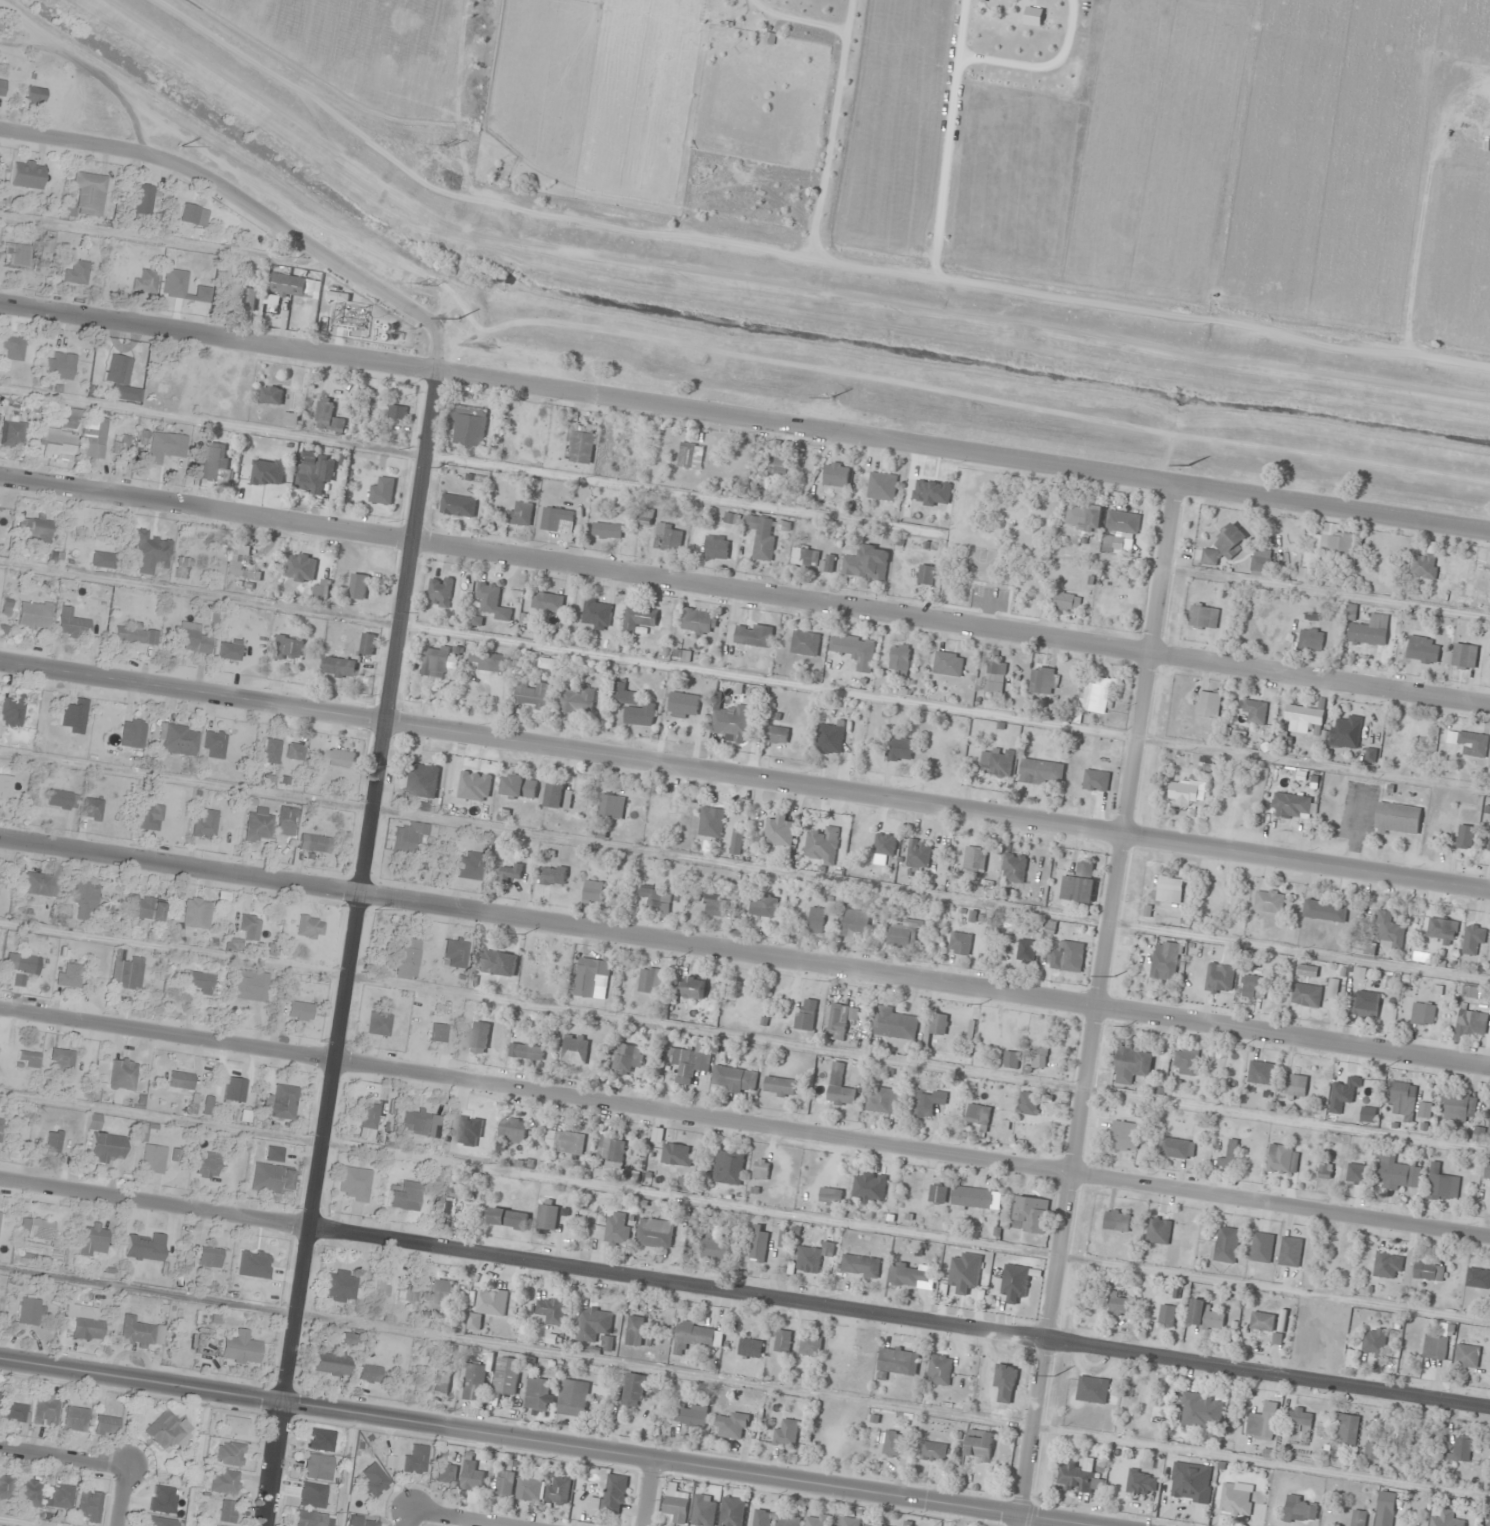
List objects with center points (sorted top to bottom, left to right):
building: (1, 87)
building: (33, 95)
road: (94, 145)
power tower: (450, 145)
building: (25, 174)
building: (85, 196)
building: (141, 200)
building: (187, 214)
building: (25, 253)
road: (336, 256)
building: (75, 273)
building: (143, 282)
building: (172, 284)
building: (294, 285)
power tower: (429, 285)
building: (338, 294)
building: (10, 348)
building: (57, 366)
building: (115, 368)
building: (272, 395)
building: (399, 411)
building: (329, 416)
building: (69, 418)
building: (292, 418)
road: (744, 421)
building: (469, 425)
building: (10, 433)
building: (91, 437)
building: (54, 442)
building: (581, 442)
building: (120, 445)
building: (171, 446)
building: (691, 455)
building: (208, 465)
building: (317, 474)
building: (836, 474)
building: (882, 486)
building: (926, 499)
building: (459, 505)
building: (521, 514)
building: (1084, 516)
building: (731, 518)
building: (558, 520)
building: (1123, 522)
building: (37, 530)
building: (608, 530)
building: (763, 536)
building: (669, 537)
building: (1336, 542)
building: (1114, 544)
building: (1225, 545)
building: (717, 547)
building: (148, 553)
building: (804, 555)
building: (101, 560)
building: (867, 562)
building: (1261, 562)
building: (828, 563)
building: (243, 564)
building: (1424, 565)
building: (302, 567)
building: (180, 568)
building: (926, 574)
building: (1305, 575)
building: (1475, 584)
building: (359, 586)
road: (745, 589)
building: (441, 591)
building: (489, 597)
building: (1067, 601)
building: (548, 602)
building: (598, 614)
building: (32, 615)
building: (1204, 617)
building: (640, 618)
building: (699, 621)
building: (70, 625)
building: (1370, 631)
building: (135, 634)
building: (754, 634)
building: (1311, 638)
building: (191, 639)
building: (368, 643)
building: (805, 643)
building: (290, 646)
building: (227, 649)
building: (1423, 649)
building: (855, 650)
building: (682, 655)
building: (1465, 655)
building: (900, 659)
building: (489, 660)
building: (436, 661)
building: (551, 663)
building: (948, 664)
building: (341, 667)
building: (995, 677)
building: (1045, 680)
building: (535, 694)
building: (1095, 696)
building: (578, 699)
building: (1209, 702)
building: (683, 705)
building: (634, 707)
building: (11, 710)
building: (1255, 712)
building: (72, 717)
building: (1301, 718)
building: (735, 723)
building: (1346, 732)
building: (131, 733)
building: (776, 734)
building: (831, 738)
building: (176, 740)
building: (1470, 742)
building: (212, 745)
building: (289, 748)
building: (901, 749)
building: (1370, 755)
building: (341, 759)
building: (997, 762)
building: (1041, 772)
road: (745, 774)
building: (423, 780)
building: (519, 786)
building: (4, 787)
building: (1183, 792)
building: (560, 796)
building: (60, 800)
building: (1292, 805)
building: (612, 806)
building: (90, 809)
building: (147, 817)
building: (1397, 819)
building: (284, 821)
building: (712, 821)
building: (203, 823)
building: (256, 825)
building: (780, 830)
building: (1465, 836)
building: (406, 837)
building: (737, 841)
building: (312, 843)
building: (823, 845)
building: (1489, 846)
building: (886, 847)
building: (919, 854)
building: (975, 857)
building: (467, 866)
building: (1014, 868)
building: (512, 872)
building: (553, 875)
building: (41, 884)
building: (1080, 884)
building: (1170, 889)
building: (594, 890)
building: (656, 895)
building: (1213, 896)
building: (83, 899)
building: (1269, 900)
building: (764, 904)
building: (716, 905)
building: (144, 908)
building: (1324, 910)
building: (195, 913)
building: (817, 920)
building: (856, 923)
building: (247, 927)
building: (308, 927)
building: (1389, 929)
building: (1442, 930)
building: (906, 934)
building: (1474, 938)
building: (961, 943)
building: (1363, 948)
building: (1026, 950)
road: (356, 951)
building: (453, 953)
road: (745, 953)
building: (1069, 957)
building: (406, 959)
building: (1166, 961)
building: (18, 962)
building: (499, 963)
building: (125, 971)
building: (1307, 971)
building: (1359, 973)
building: (67, 975)
building: (591, 975)
building: (1219, 978)
building: (650, 979)
building: (1392, 981)
building: (197, 982)
building: (245, 985)
building: (693, 987)
building: (1253, 987)
building: (1333, 988)
building: (1470, 990)
building: (1306, 994)
road: (1099, 1005)
building: (1364, 1007)
building: (297, 1011)
building: (1423, 1013)
building: (806, 1014)
building: (838, 1021)
building: (895, 1023)
building: (937, 1023)
building: (1469, 1023)
building: (377, 1024)
building: (436, 1033)
building: (480, 1036)
building: (575, 1049)
building: (527, 1051)
building: (27, 1058)
building: (628, 1058)
building: (1011, 1059)
building: (60, 1060)
building: (690, 1061)
building: (1036, 1061)
building: (1186, 1061)
building: (1133, 1065)
building: (1261, 1072)
building: (121, 1075)
building: (735, 1079)
building: (179, 1083)
building: (1295, 1085)
building: (1351, 1085)
building: (780, 1087)
building: (840, 1087)
building: (232, 1089)
building: (1402, 1098)
building: (884, 1101)
building: (280, 1102)
building: (928, 1103)
building: (1028, 1103)
building: (206, 1106)
building: (1458, 1107)
building: (1425, 1110)
building: (978, 1114)
building: (367, 1116)
building: (92, 1121)
building: (414, 1121)
road: (744, 1126)
building: (513, 1130)
building: (1489, 1133)
building: (466, 1134)
building: (1479, 1134)
building: (1125, 1136)
building: (52, 1141)
building: (566, 1142)
building: (104, 1148)
building: (1177, 1148)
building: (612, 1150)
building: (273, 1154)
building: (677, 1154)
building: (1229, 1155)
building: (152, 1159)
building: (1279, 1159)
building: (204, 1165)
building: (729, 1167)
building: (761, 1169)
building: (1357, 1173)
building: (1397, 1174)
building: (270, 1179)
building: (685, 1183)
building: (1442, 1183)
building: (352, 1184)
building: (869, 1187)
building: (938, 1193)
building: (830, 1195)
building: (403, 1196)
building: (972, 1198)
building: (1031, 1214)
building: (508, 1218)
building: (548, 1218)
building: (1117, 1220)
building: (617, 1228)
building: (35, 1229)
building: (1159, 1230)
building: (655, 1233)
building: (90, 1238)
building: (782, 1239)
building: (759, 1243)
building: (1226, 1244)
building: (713, 1247)
building: (1262, 1247)
building: (1290, 1251)
building: (212, 1257)
building: (813, 1257)
building: (33, 1260)
building: (860, 1265)
building: (1388, 1265)
building: (1429, 1271)
building: (966, 1272)
building: (908, 1274)
building: (1478, 1277)
building: (1015, 1282)
building: (339, 1286)
building: (381, 1290)
building: (443, 1294)
building: (405, 1295)
road: (744, 1296)
building: (488, 1305)
building: (1119, 1305)
building: (553, 1310)
building: (27, 1311)
building: (1167, 1314)
building: (1205, 1316)
building: (1268, 1321)
building: (595, 1325)
building: (86, 1329)
building: (635, 1330)
building: (136, 1333)
building: (697, 1336)
building: (350, 1337)
building: (783, 1340)
building: (1374, 1341)
building: (1438, 1342)
building: (810, 1344)
building: (750, 1347)
building: (239, 1349)
building: (1467, 1353)
building: (897, 1361)
building: (329, 1364)
building: (940, 1369)
building: (368, 1373)
building: (507, 1375)
building: (441, 1382)
building: (475, 1382)
building: (634, 1389)
building: (1093, 1389)
building: (1132, 1392)
building: (537, 1393)
building: (574, 1398)
building: (45, 1409)
building: (1202, 1410)
building: (13, 1412)
building: (691, 1414)
building: (1300, 1417)
building: (74, 1419)
building: (1262, 1421)
building: (234, 1425)
building: (732, 1425)
building: (105, 1426)
building: (1346, 1428)
building: (165, 1430)
building: (787, 1433)
building: (320, 1440)
building: (1402, 1440)
building: (892, 1443)
road: (545, 1444)
building: (979, 1444)
building: (1461, 1449)
building: (1372, 1450)
building: (934, 1451)
building: (228, 1454)
building: (413, 1458)
road: (64, 1459)
building: (316, 1467)
building: (446, 1473)
building: (473, 1476)
building: (1079, 1476)
building: (373, 1480)
building: (223, 1481)
building: (1191, 1481)
building: (505, 1482)
building: (1142, 1482)
building: (532, 1485)
building: (5, 1487)
building: (560, 1490)
building: (28, 1492)
road: (648, 1494)
building: (61, 1496)
building: (314, 1496)
building: (611, 1496)
road: (124, 1498)
building: (1236, 1500)
building: (677, 1503)
building: (88, 1505)
building: (1301, 1508)
building: (1386, 1508)
building: (226, 1511)
building: (732, 1511)
building: (1358, 1517)
building: (761, 1518)
building: (1489, 1518)
building: (312, 1519)
road: (413, 1519)
road: (459, 1519)
building: (817, 1519)
building: (1446, 1519)
building: (789, 1520)
building: (160, 1521)
building: (361, 1521)
building: (846, 1521)
building: (872, 1525)

